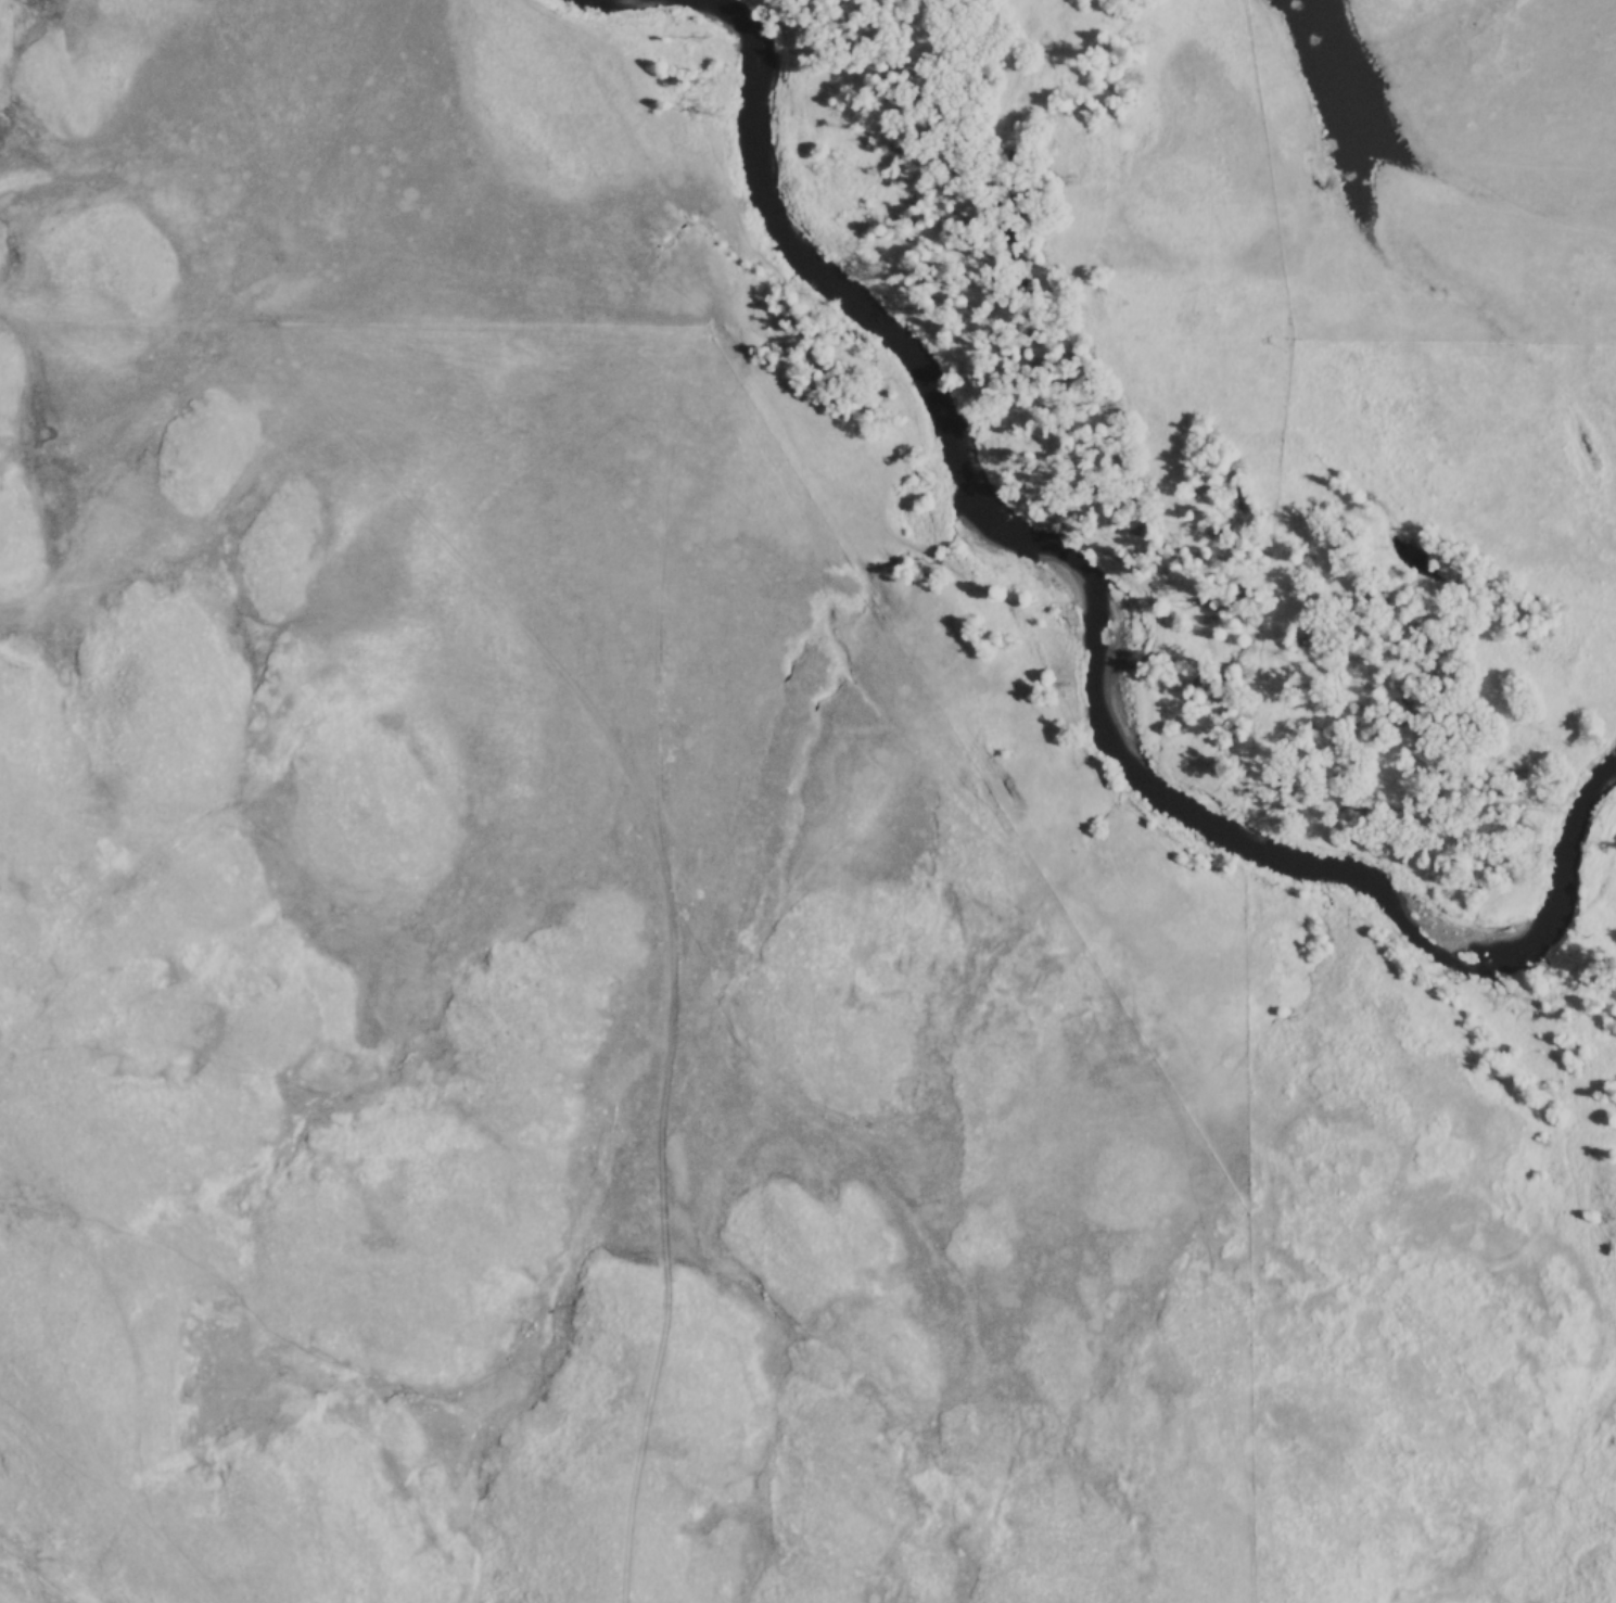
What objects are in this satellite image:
river: (1089, 650)

